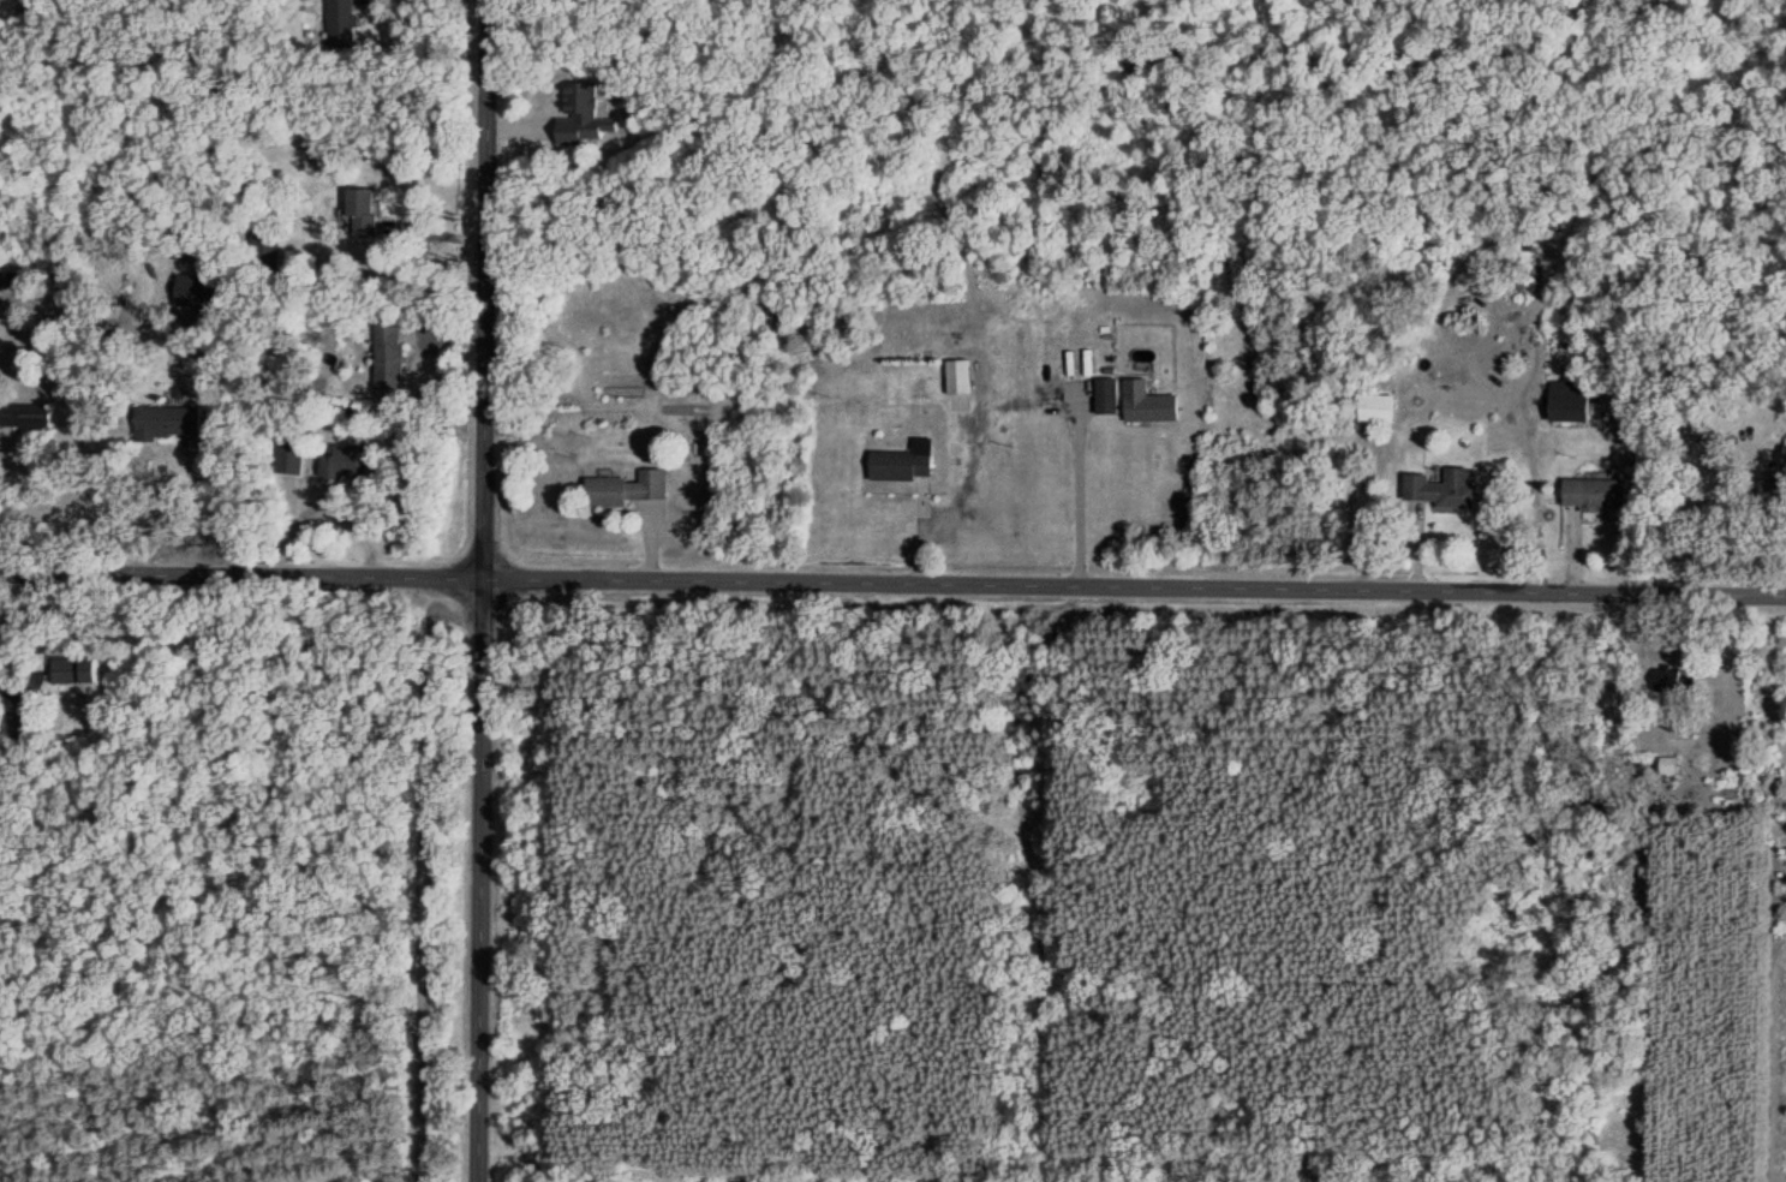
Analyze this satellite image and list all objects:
building: (341, 24)
building: (581, 117)
building: (362, 213)
building: (198, 292)
building: (388, 356)
building: (957, 377)
building: (1106, 396)
building: (1570, 402)
building: (1147, 405)
building: (1375, 410)
building: (25, 414)
building: (167, 420)
building: (1785, 459)
building: (350, 461)
building: (903, 462)
road: (1535, 483)
building: (626, 488)
building: (1441, 490)
building: (1770, 491)
building: (1594, 494)
road: (11, 503)
road: (1080, 503)
road: (1700, 507)
road: (197, 509)
road: (892, 581)
road: (483, 591)
building: (73, 670)
building: (1674, 681)

